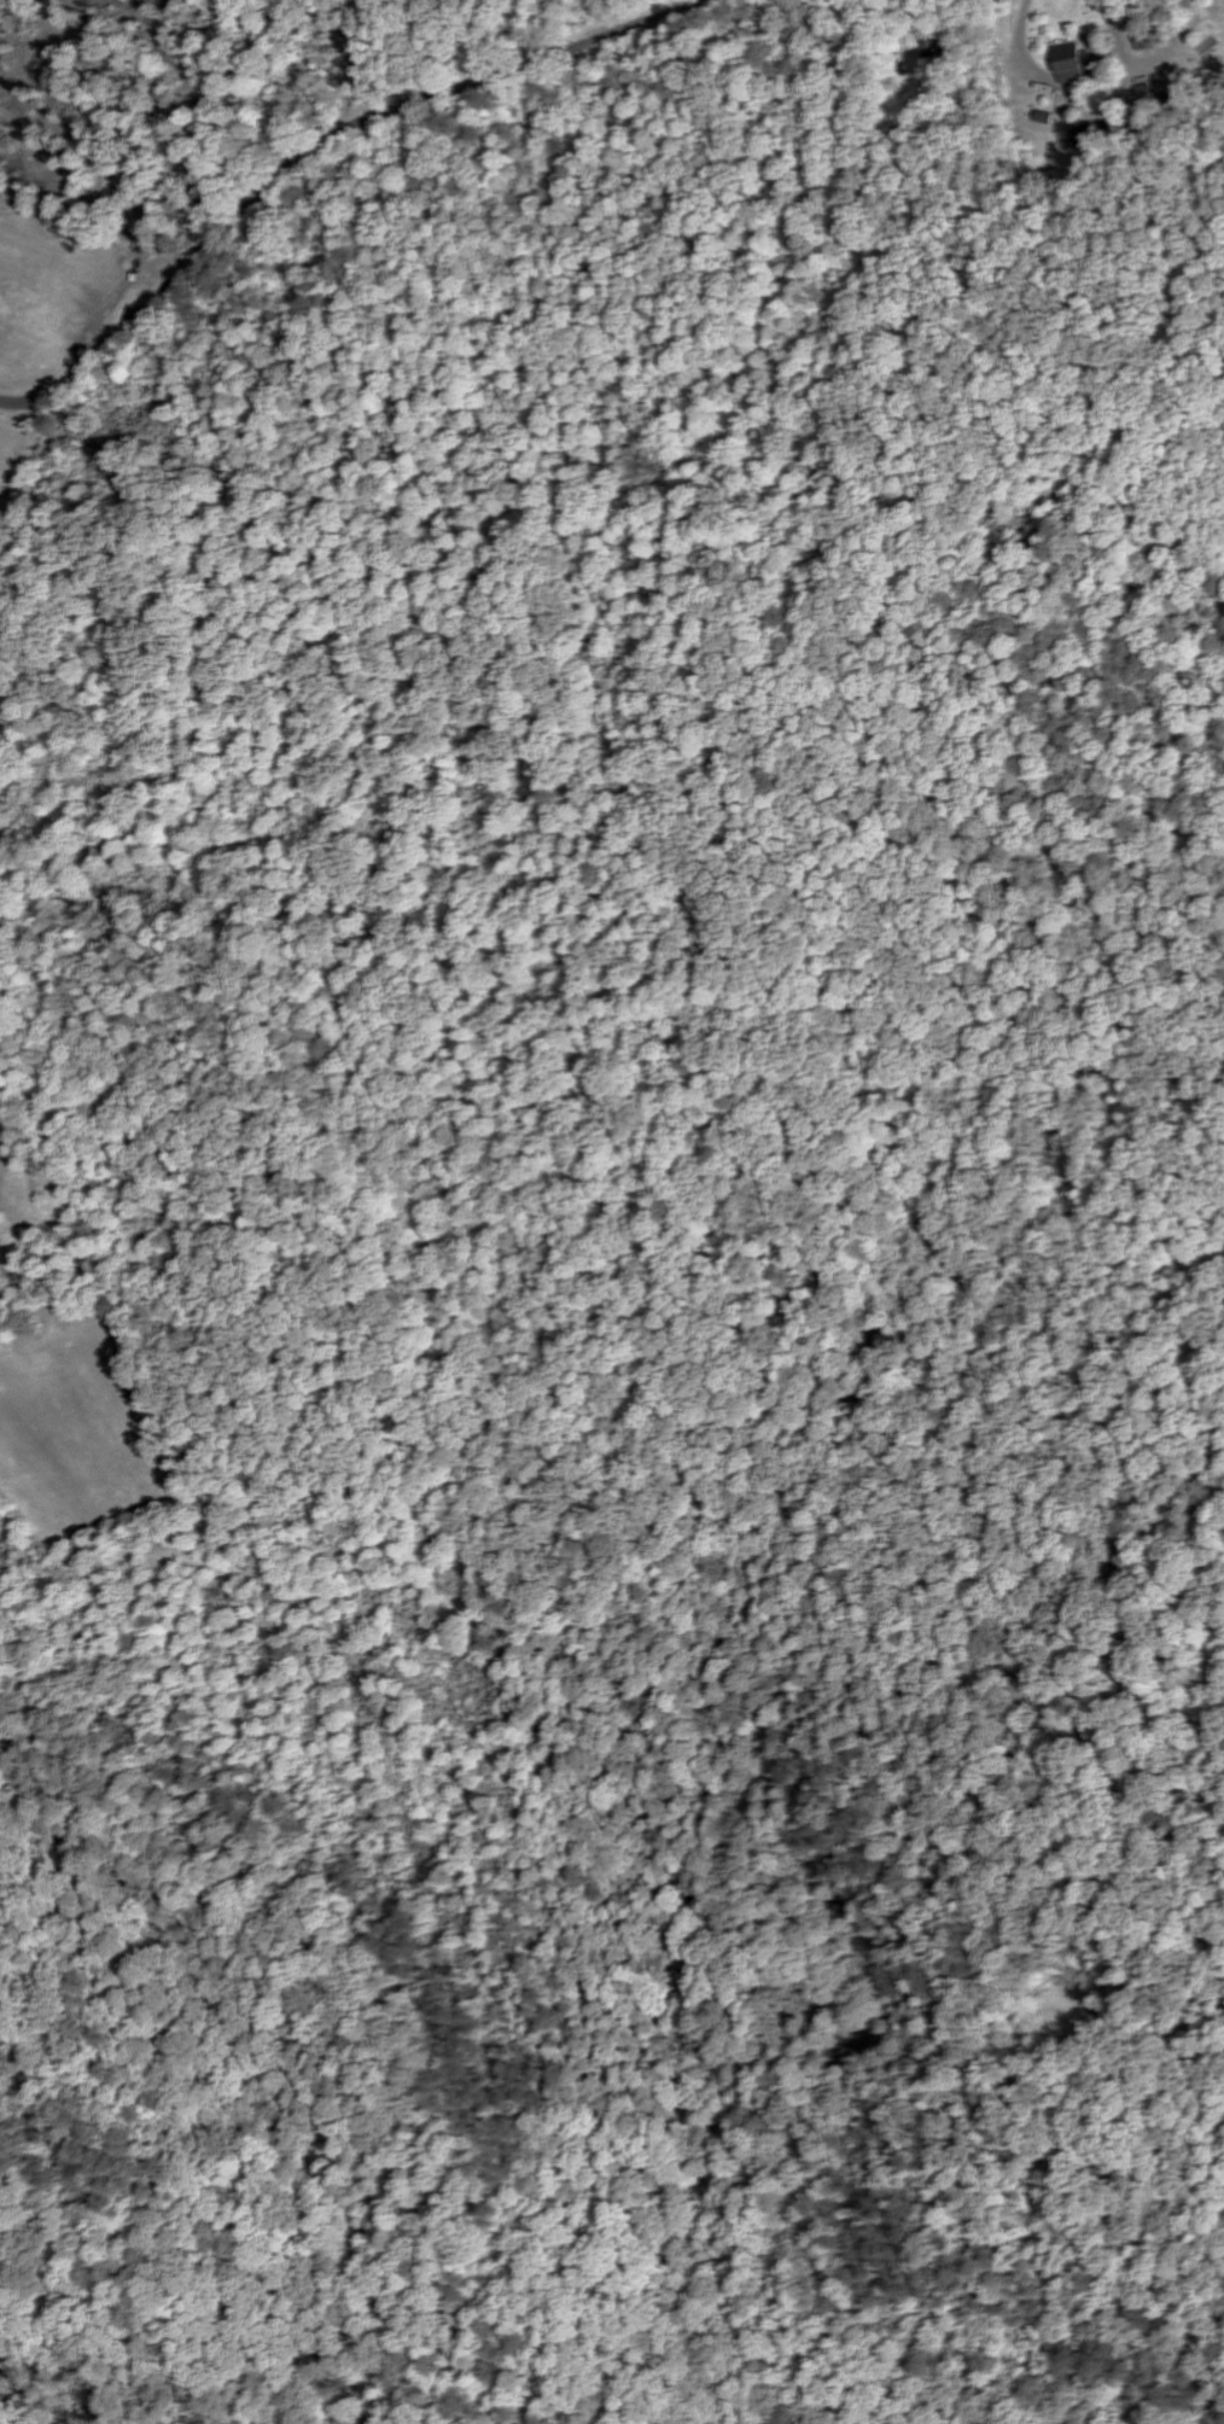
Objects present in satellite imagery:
building: (1066, 65)
road: (320, 153)

